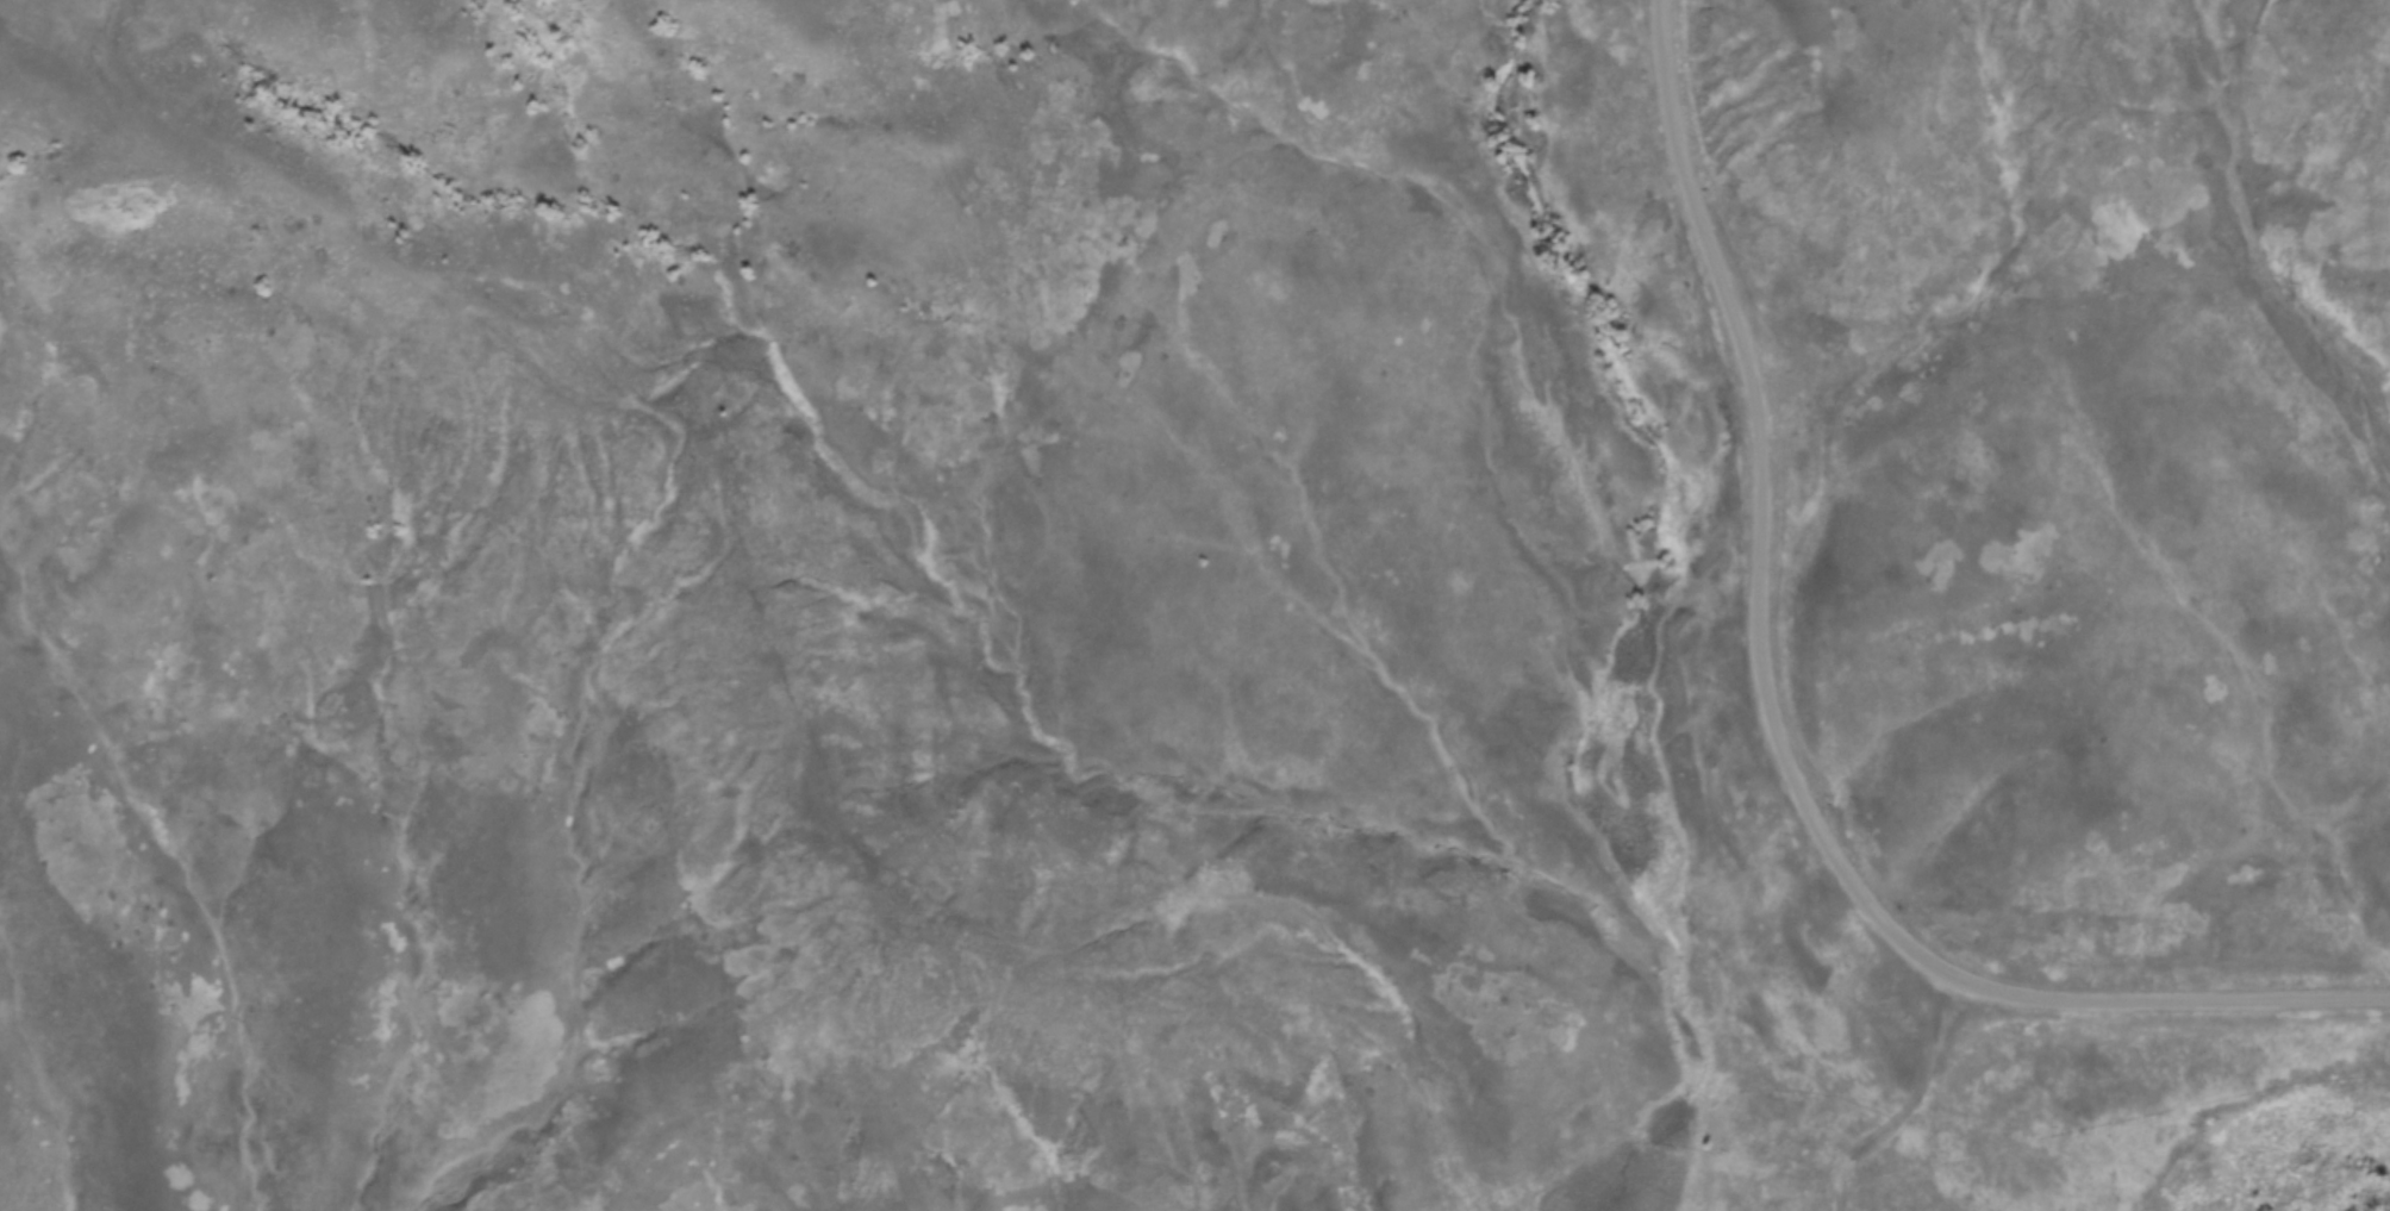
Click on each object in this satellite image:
road: (1783, 730)

